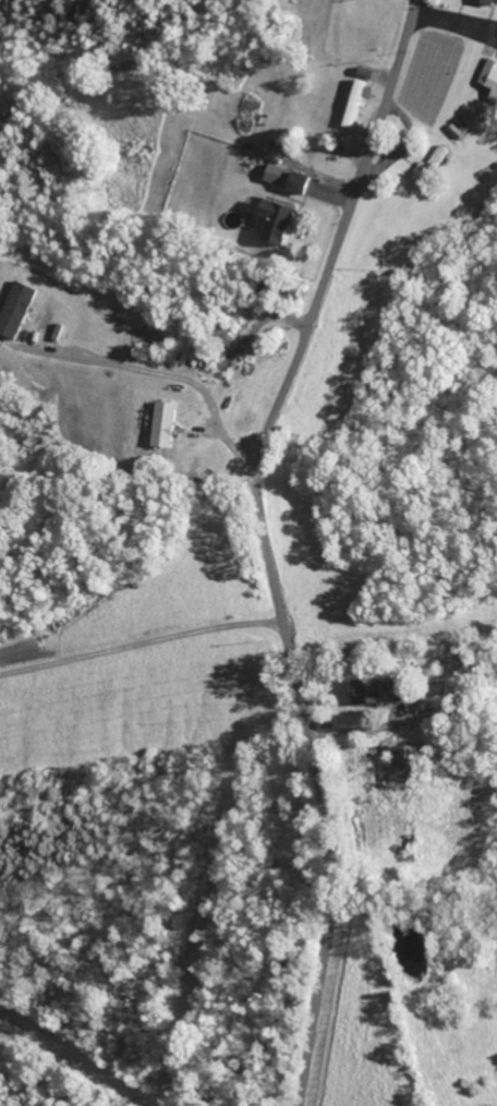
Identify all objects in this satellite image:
building: (493, 0)
building: (490, 73)
building: (496, 95)
building: (431, 166)
building: (287, 179)
building: (278, 220)
building: (19, 309)
road: (250, 342)
road: (163, 373)
building: (166, 423)
road: (266, 544)
road: (142, 645)
building: (372, 692)
building: (408, 761)

